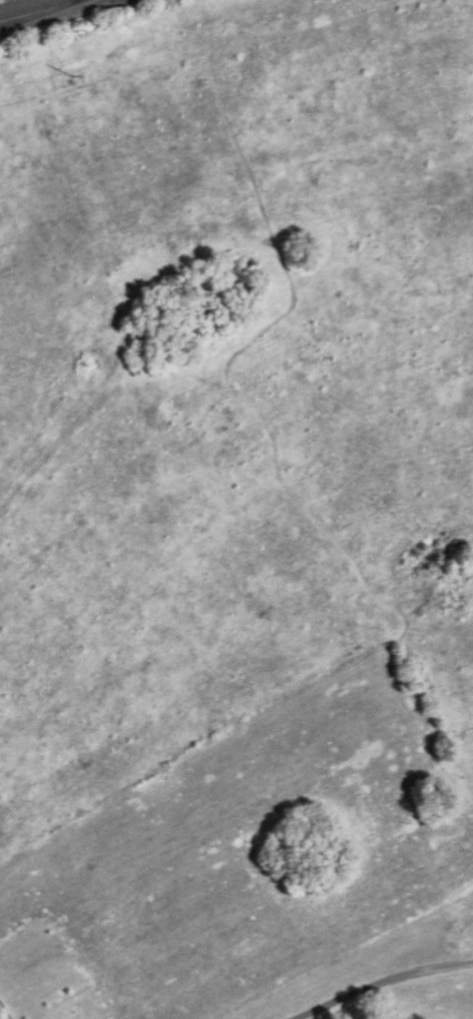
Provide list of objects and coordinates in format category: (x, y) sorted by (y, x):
railway: (34, 8)
railway: (40, 14)
crop: (258, 850)
road: (380, 984)

